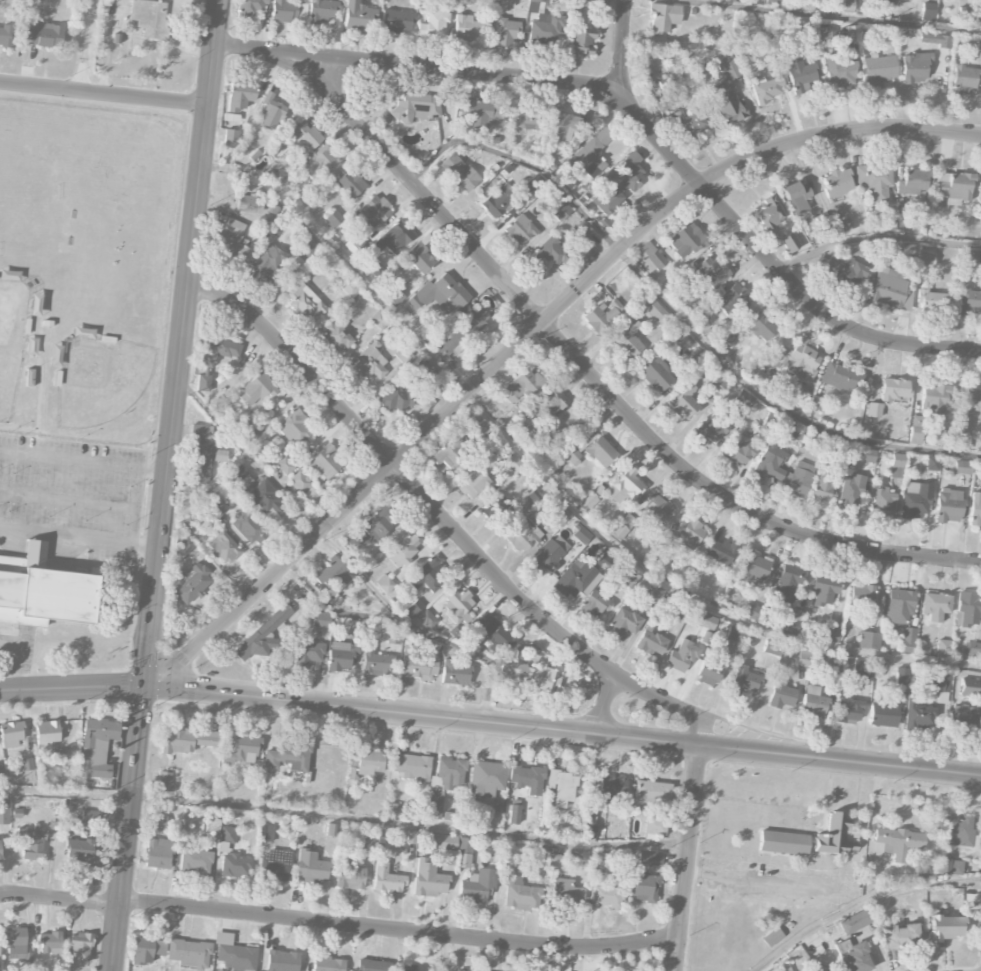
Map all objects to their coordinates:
building: (979, 0)
building: (773, 1)
building: (251, 6)
building: (845, 6)
building: (883, 8)
building: (322, 10)
building: (284, 11)
building: (928, 11)
building: (965, 14)
building: (360, 16)
road: (832, 16)
building: (664, 17)
building: (151, 18)
building: (976, 19)
building: (397, 21)
building: (433, 23)
building: (544, 24)
building: (467, 29)
building: (506, 32)
building: (851, 33)
building: (42, 34)
building: (809, 34)
building: (6, 35)
building: (581, 40)
building: (935, 40)
building: (978, 44)
road: (86, 45)
road: (622, 62)
building: (729, 68)
building: (915, 68)
building: (879, 69)
building: (840, 71)
building: (801, 73)
building: (964, 80)
building: (767, 88)
road: (100, 93)
building: (240, 96)
building: (726, 103)
building: (416, 107)
building: (272, 112)
building: (477, 113)
road: (635, 115)
building: (528, 119)
building: (565, 125)
building: (693, 126)
building: (303, 136)
building: (230, 138)
building: (590, 153)
building: (322, 164)
building: (459, 172)
building: (874, 181)
building: (912, 182)
building: (837, 183)
building: (350, 184)
building: (620, 185)
building: (955, 187)
building: (796, 196)
building: (250, 203)
building: (374, 210)
building: (561, 211)
building: (770, 213)
building: (334, 219)
building: (902, 221)
building: (842, 226)
building: (520, 229)
building: (583, 231)
building: (393, 237)
road: (876, 239)
building: (232, 240)
building: (687, 240)
building: (789, 242)
building: (304, 248)
building: (547, 252)
building: (900, 255)
building: (968, 256)
building: (419, 258)
building: (651, 258)
building: (925, 259)
building: (267, 265)
building: (374, 267)
building: (843, 270)
building: (710, 272)
building: (9, 275)
building: (888, 287)
building: (439, 294)
building: (395, 298)
building: (733, 300)
building: (932, 300)
building: (304, 301)
building: (970, 303)
building: (35, 305)
road: (676, 313)
building: (602, 316)
building: (475, 319)
building: (761, 326)
building: (83, 333)
road: (533, 333)
building: (336, 337)
building: (629, 341)
building: (724, 341)
road: (174, 342)
building: (447, 344)
building: (219, 351)
building: (56, 355)
building: (404, 355)
building: (369, 364)
building: (423, 373)
road: (590, 373)
building: (656, 373)
building: (29, 377)
building: (840, 377)
building: (203, 383)
building: (523, 385)
building: (717, 385)
building: (257, 389)
building: (895, 389)
building: (395, 397)
building: (744, 399)
building: (971, 399)
building: (934, 400)
building: (683, 401)
building: (550, 403)
building: (874, 410)
building: (293, 427)
building: (480, 427)
building: (712, 428)
building: (792, 430)
building: (916, 430)
building: (201, 431)
building: (249, 433)
building: (961, 442)
building: (840, 449)
building: (601, 452)
building: (739, 452)
building: (449, 453)
building: (220, 455)
building: (571, 455)
building: (869, 457)
road: (80, 460)
building: (325, 462)
building: (770, 462)
building: (200, 464)
building: (932, 464)
building: (285, 465)
building: (896, 465)
building: (963, 467)
road: (399, 472)
building: (241, 478)
building: (800, 479)
road: (548, 482)
building: (473, 484)
building: (624, 486)
building: (823, 486)
building: (304, 487)
building: (849, 492)
building: (535, 495)
road: (287, 497)
building: (267, 501)
building: (881, 501)
building: (915, 501)
building: (948, 505)
building: (215, 506)
building: (657, 509)
building: (975, 509)
building: (190, 523)
building: (248, 527)
building: (372, 528)
building: (618, 532)
building: (687, 532)
building: (524, 534)
building: (581, 534)
road: (76, 538)
building: (186, 544)
building: (223, 547)
building: (403, 550)
building: (721, 551)
building: (550, 553)
building: (754, 566)
building: (333, 574)
building: (428, 575)
building: (630, 577)
building: (577, 578)
building: (787, 583)
building: (193, 584)
building: (385, 584)
building: (825, 590)
building: (43, 591)
building: (655, 595)
building: (861, 597)
building: (594, 603)
building: (458, 604)
building: (899, 606)
building: (935, 606)
building: (413, 609)
building: (967, 609)
building: (680, 610)
building: (321, 619)
building: (426, 619)
building: (794, 620)
building: (707, 621)
building: (623, 622)
building: (735, 634)
building: (263, 635)
building: (394, 635)
building: (830, 635)
building: (909, 637)
building: (869, 640)
building: (650, 643)
building: (772, 647)
building: (942, 648)
building: (973, 651)
building: (308, 653)
road: (474, 654)
building: (681, 656)
building: (804, 658)
building: (375, 661)
building: (416, 665)
building: (864, 669)
building: (710, 670)
building: (455, 673)
building: (530, 676)
building: (745, 680)
building: (940, 682)
traffic signals: (137, 685)
building: (971, 690)
building: (781, 696)
road: (656, 699)
building: (813, 702)
road: (603, 704)
building: (848, 711)
building: (883, 714)
building: (918, 714)
building: (963, 721)
road: (490, 722)
road: (700, 733)
building: (11, 734)
building: (46, 734)
road: (130, 740)
building: (186, 740)
building: (97, 748)
building: (240, 749)
building: (289, 757)
building: (26, 764)
building: (366, 764)
building: (412, 766)
building: (2, 774)
building: (486, 779)
building: (527, 779)
building: (164, 781)
building: (445, 783)
building: (562, 787)
building: (612, 788)
building: (651, 792)
building: (398, 811)
building: (4, 813)
building: (514, 814)
building: (89, 815)
building: (159, 822)
road: (406, 823)
building: (654, 827)
building: (958, 831)
building: (265, 833)
building: (228, 834)
building: (835, 836)
building: (368, 841)
building: (442, 841)
building: (783, 843)
building: (894, 843)
building: (33, 844)
building: (79, 851)
building: (159, 853)
building: (456, 854)
building: (0, 856)
building: (650, 858)
road: (687, 859)
building: (598, 860)
building: (195, 861)
building: (555, 862)
building: (235, 865)
building: (275, 865)
building: (310, 865)
building: (950, 867)
building: (350, 876)
building: (386, 878)
building: (428, 878)
road: (755, 878)
road: (114, 883)
building: (477, 886)
building: (641, 886)
building: (520, 891)
building: (566, 891)
building: (608, 896)
road: (55, 898)
road: (860, 903)
building: (854, 922)
building: (944, 927)
road: (396, 928)
building: (901, 936)
building: (772, 937)
building: (15, 942)
building: (50, 943)
building: (80, 948)
building: (142, 951)
building: (188, 952)
building: (236, 956)
building: (855, 959)
building: (282, 961)
building: (328, 964)
building: (0, 965)
building: (372, 965)
building: (412, 968)
building: (459, 970)

